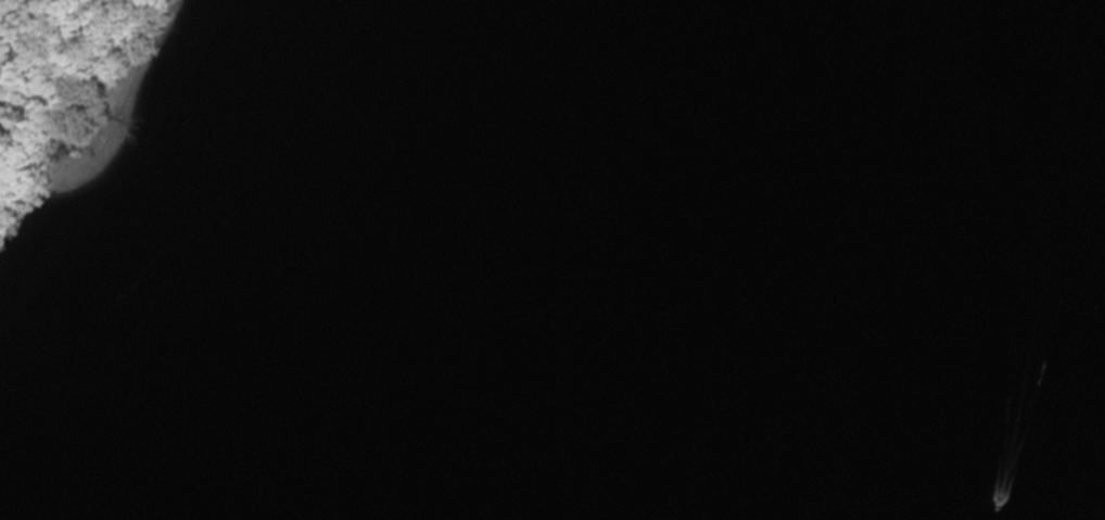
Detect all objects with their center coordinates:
river: (889, 259)

